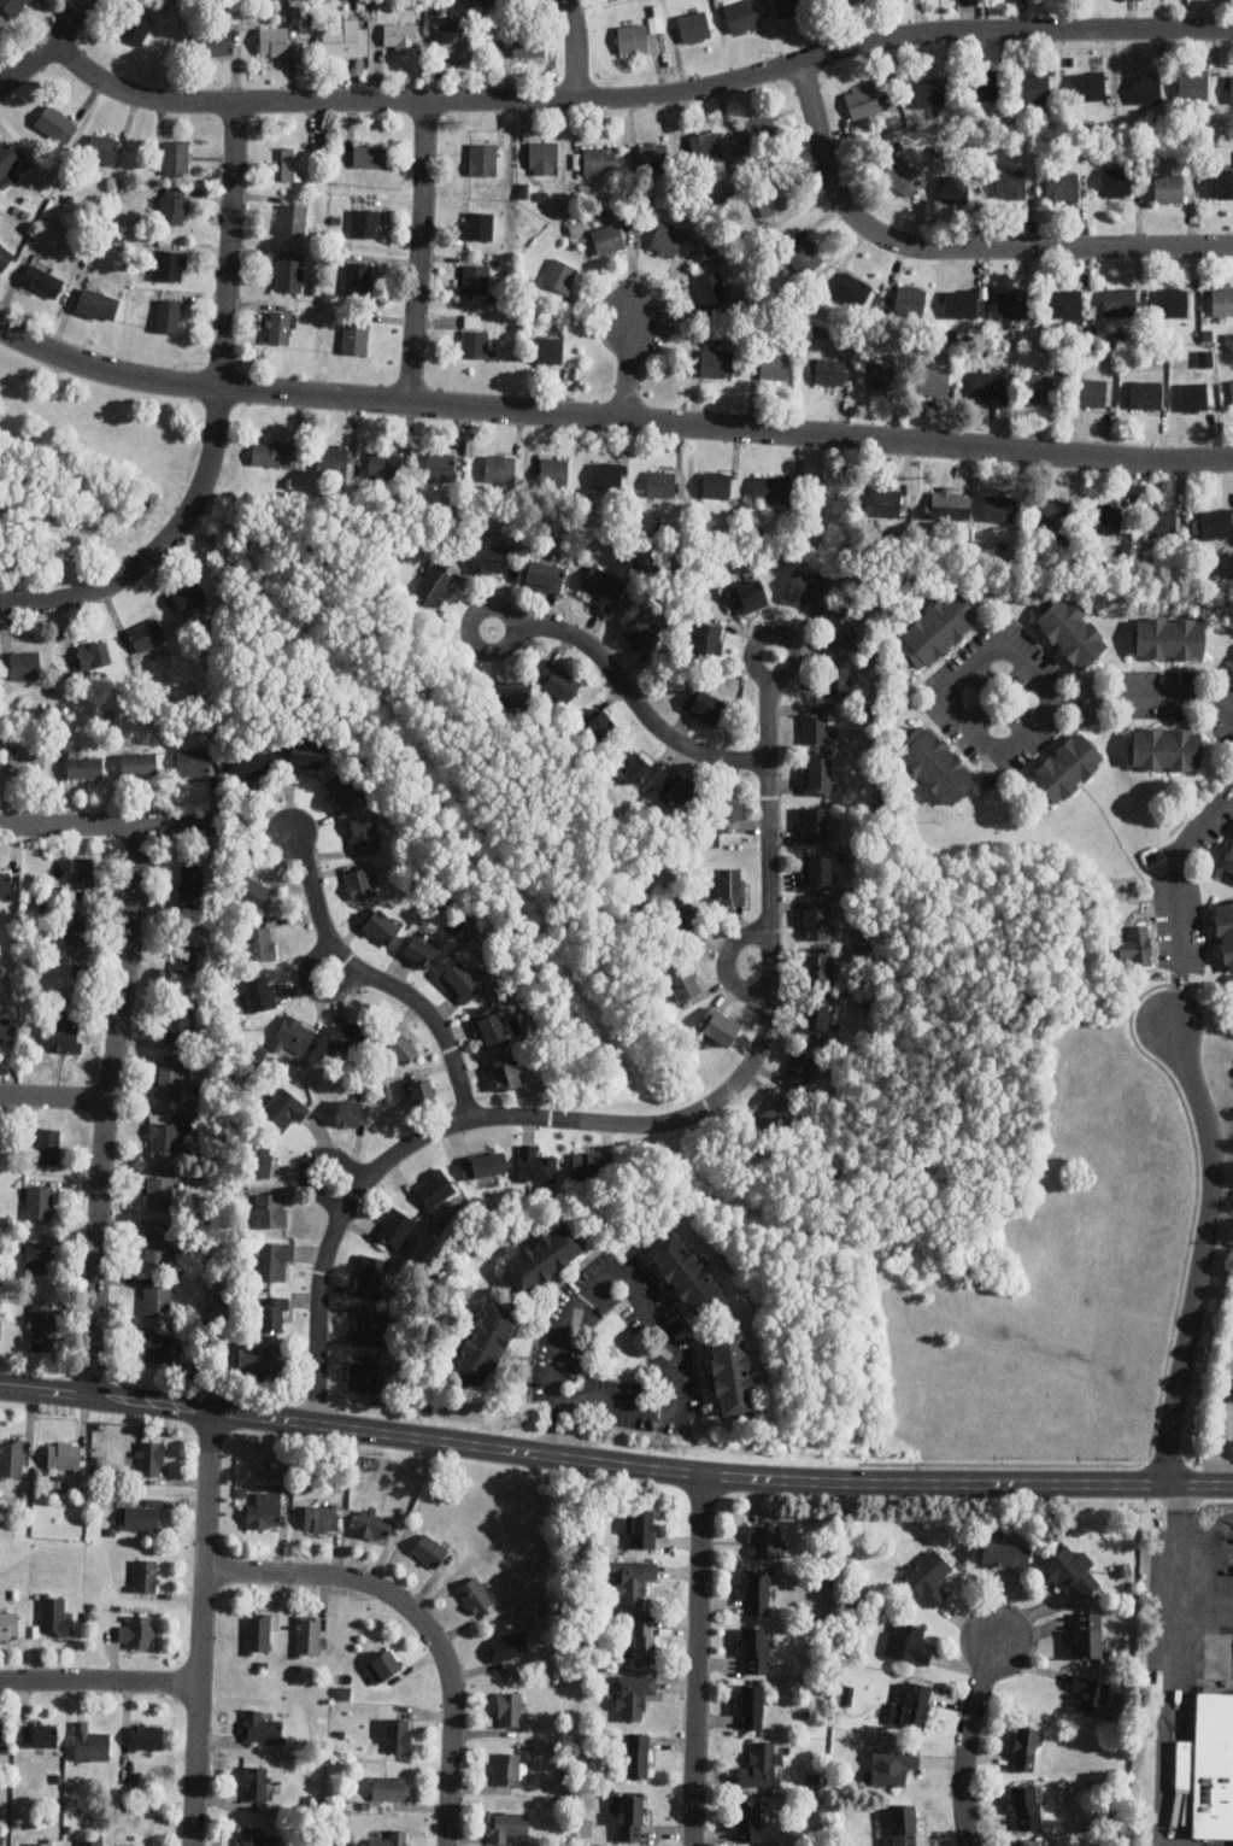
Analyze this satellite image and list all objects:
building: (489, 0)
building: (12, 6)
building: (789, 6)
building: (741, 14)
building: (694, 25)
building: (136, 27)
building: (400, 35)
building: (633, 37)
building: (347, 39)
building: (456, 41)
building: (216, 42)
building: (278, 42)
building: (528, 45)
road: (571, 47)
road: (49, 49)
building: (1193, 83)
building: (1091, 84)
building: (984, 86)
building: (1033, 87)
building: (1145, 88)
building: (1231, 89)
building: (929, 90)
road: (640, 96)
building: (863, 101)
building: (57, 123)
building: (759, 125)
building: (706, 146)
building: (101, 147)
building: (370, 153)
building: (176, 156)
building: (653, 156)
building: (7, 157)
building: (542, 157)
building: (483, 158)
building: (597, 159)
building: (295, 163)
building: (903, 175)
building: (8, 178)
building: (1116, 181)
building: (1221, 182)
building: (1010, 183)
building: (1062, 184)
building: (1168, 187)
building: (953, 191)
building: (771, 200)
building: (174, 204)
building: (292, 218)
building: (366, 222)
building: (477, 224)
building: (607, 238)
building: (667, 239)
road: (957, 247)
road: (421, 250)
building: (5, 256)
building: (804, 256)
building: (170, 264)
building: (289, 274)
building: (560, 274)
building: (358, 277)
building: (475, 279)
building: (42, 280)
building: (710, 288)
building: (855, 289)
building: (910, 298)
building: (1222, 300)
building: (963, 301)
building: (1120, 301)
building: (1173, 301)
building: (96, 303)
building: (1012, 303)
building: (1069, 303)
building: (168, 313)
building: (278, 327)
building: (356, 335)
building: (475, 342)
building: (550, 348)
building: (1205, 357)
building: (716, 362)
building: (774, 365)
road: (628, 369)
building: (829, 370)
building: (880, 374)
building: (934, 381)
building: (987, 382)
building: (1039, 386)
building: (1231, 388)
building: (1092, 392)
building: (1145, 393)
building: (1193, 395)
road: (611, 418)
road: (216, 420)
building: (270, 452)
building: (335, 459)
building: (383, 463)
building: (440, 465)
building: (503, 467)
park: (84, 470)
building: (553, 470)
building: (606, 474)
building: (662, 482)
building: (716, 484)
building: (773, 490)
building: (885, 503)
building: (945, 504)
building: (999, 508)
building: (1053, 514)
building: (1109, 517)
building: (1162, 522)
building: (1216, 522)
building: (488, 558)
building: (544, 574)
building: (435, 582)
building: (603, 587)
building: (806, 587)
building: (750, 594)
building: (189, 596)
building: (841, 625)
building: (938, 628)
building: (1070, 632)
building: (641, 633)
building: (146, 634)
building: (1169, 637)
building: (707, 639)
building: (93, 654)
building: (25, 663)
building: (838, 679)
building: (562, 684)
road: (628, 688)
building: (510, 693)
road: (1146, 696)
building: (704, 704)
building: (599, 725)
building: (816, 728)
building: (1166, 748)
building: (303, 752)
road: (997, 752)
building: (193, 761)
building: (137, 762)
building: (252, 763)
building: (632, 763)
building: (935, 763)
building: (27, 764)
building: (84, 767)
building: (1065, 767)
building: (817, 774)
building: (342, 785)
building: (679, 786)
building: (732, 803)
building: (816, 821)
road: (111, 826)
building: (363, 830)
building: (1227, 860)
building: (82, 872)
building: (817, 872)
building: (190, 881)
building: (360, 881)
building: (6, 884)
building: (730, 885)
building: (252, 890)
building: (685, 918)
building: (817, 921)
building: (77, 925)
building: (381, 926)
building: (1225, 931)
building: (260, 943)
building: (1137, 944)
building: (422, 950)
building: (187, 955)
building: (818, 969)
road: (376, 978)
building: (463, 980)
building: (683, 980)
building: (260, 990)
building: (818, 1015)
building: (178, 1022)
building: (489, 1026)
building: (718, 1026)
building: (5, 1029)
building: (66, 1032)
building: (294, 1033)
building: (346, 1036)
building: (401, 1049)
building: (799, 1067)
building: (504, 1072)
building: (172, 1078)
building: (422, 1091)
road: (53, 1096)
road: (106, 1109)
building: (284, 1110)
building: (348, 1112)
building: (774, 1117)
road: (639, 1126)
road: (1206, 1126)
building: (164, 1136)
building: (48, 1145)
building: (260, 1158)
road: (312, 1160)
building: (485, 1164)
building: (535, 1164)
building: (587, 1164)
building: (434, 1188)
building: (160, 1191)
building: (39, 1202)
building: (271, 1209)
building: (394, 1226)
building: (155, 1244)
building: (544, 1256)
building: (37, 1259)
building: (274, 1260)
building: (371, 1272)
building: (686, 1272)
building: (155, 1299)
road: (652, 1312)
building: (275, 1313)
building: (43, 1325)
building: (370, 1328)
building: (485, 1341)
building: (157, 1349)
building: (259, 1358)
building: (730, 1373)
building: (363, 1378)
road: (566, 1403)
road: (1222, 1411)
building: (64, 1455)
building: (11, 1458)
building: (148, 1458)
road: (613, 1464)
building: (265, 1511)
building: (145, 1516)
building: (321, 1517)
building: (375, 1523)
building: (642, 1525)
building: (763, 1540)
building: (429, 1549)
building: (1005, 1554)
building: (1071, 1570)
building: (145, 1575)
building: (929, 1576)
building: (634, 1578)
building: (758, 1590)
building: (476, 1593)
building: (54, 1614)
road: (419, 1622)
building: (10, 1623)
road: (200, 1625)
building: (137, 1630)
building: (258, 1631)
building: (1087, 1634)
building: (309, 1635)
building: (644, 1640)
building: (908, 1643)
building: (509, 1646)
building: (757, 1649)
road: (695, 1660)
road: (1169, 1664)
building: (383, 1665)
road: (99, 1678)
building: (1091, 1692)
building: (634, 1694)
building: (915, 1704)
building: (751, 1706)
building: (510, 1707)
building: (260, 1725)
building: (45, 1734)
building: (397, 1734)
building: (2, 1735)
building: (146, 1735)
road: (969, 1737)
building: (89, 1744)
building: (1023, 1747)
building: (636, 1754)
building: (1209, 1763)
building: (762, 1764)
building: (893, 1764)
building: (510, 1768)
building: (254, 1782)
building: (391, 1787)
building: (1027, 1806)
building: (630, 1816)
building: (750, 1821)
building: (903, 1823)
building: (507, 1824)
building: (256, 1836)
building: (389, 1839)
building: (93, 1841)
building: (41, 1842)
building: (1029, 1842)

